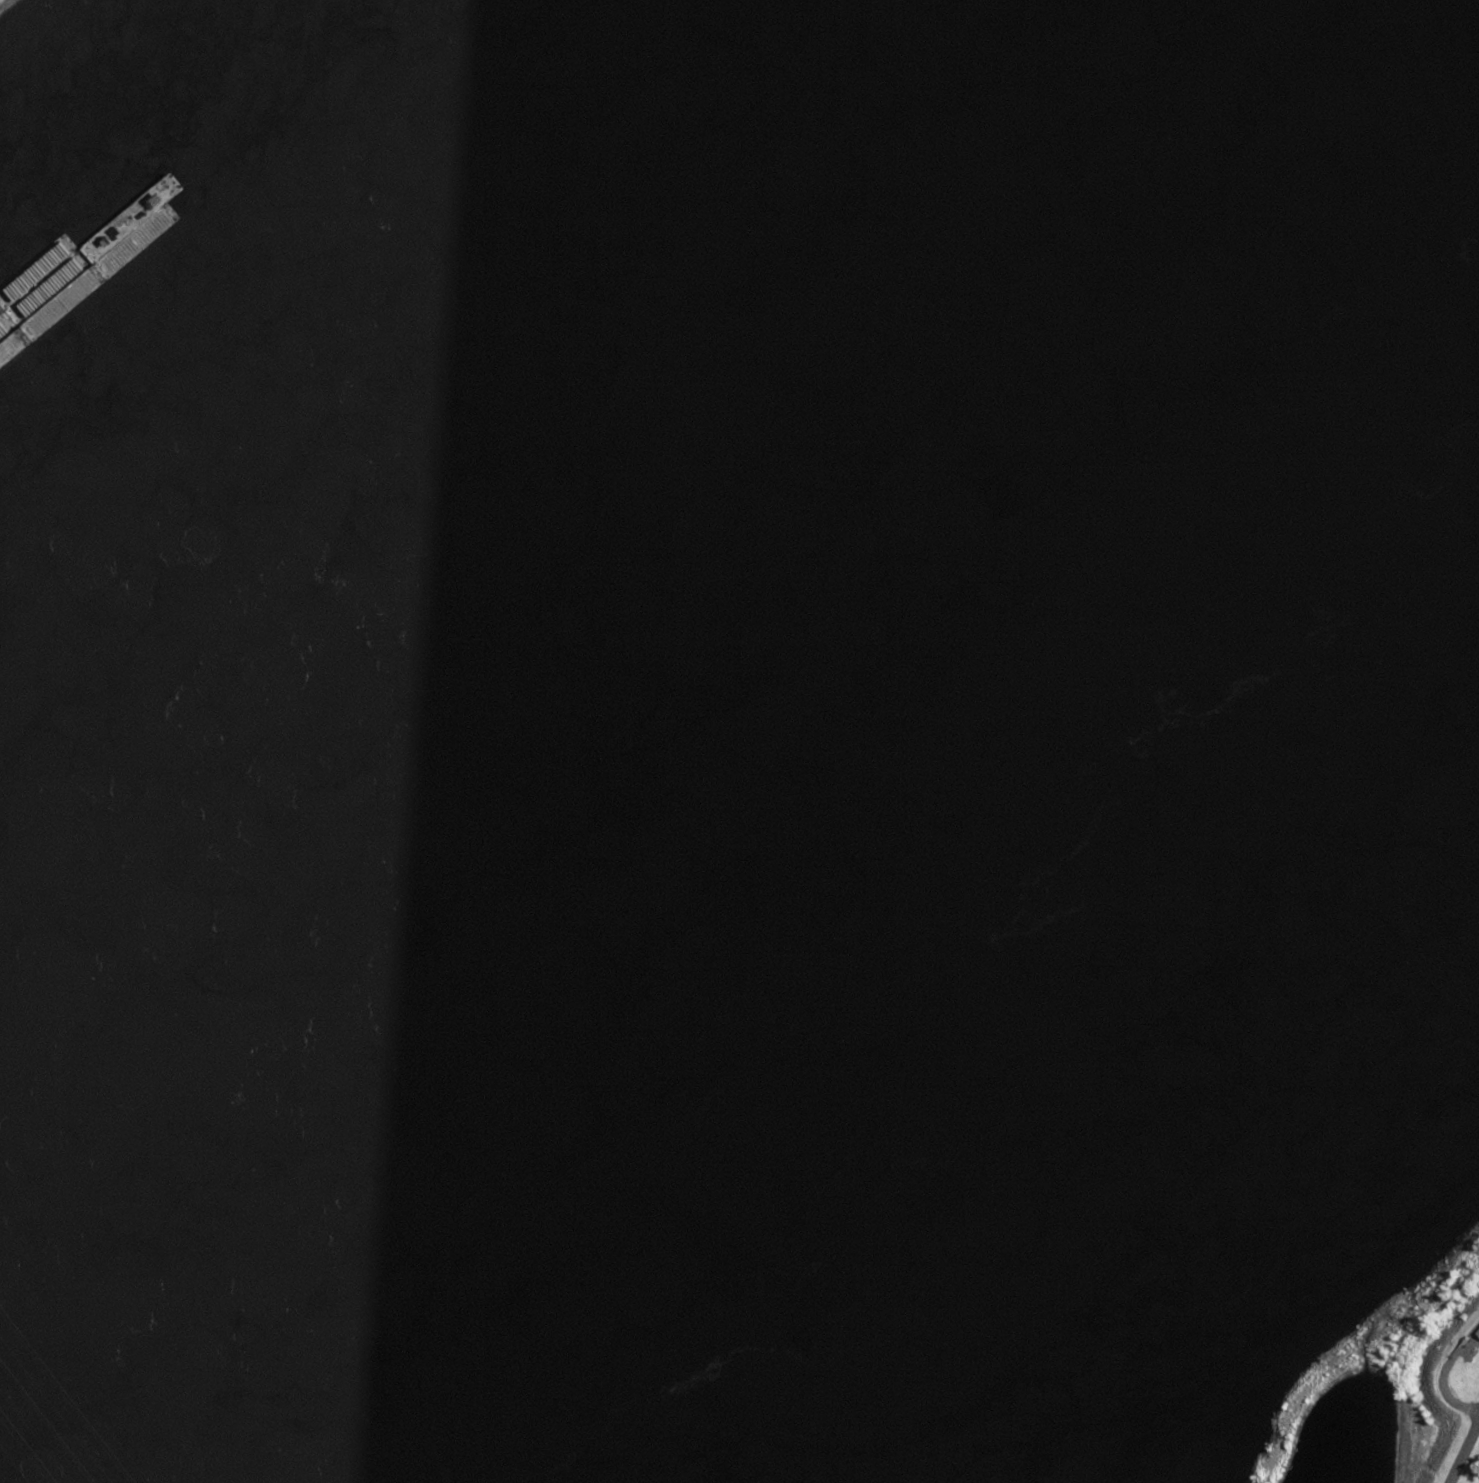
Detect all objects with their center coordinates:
river: (637, 548)

